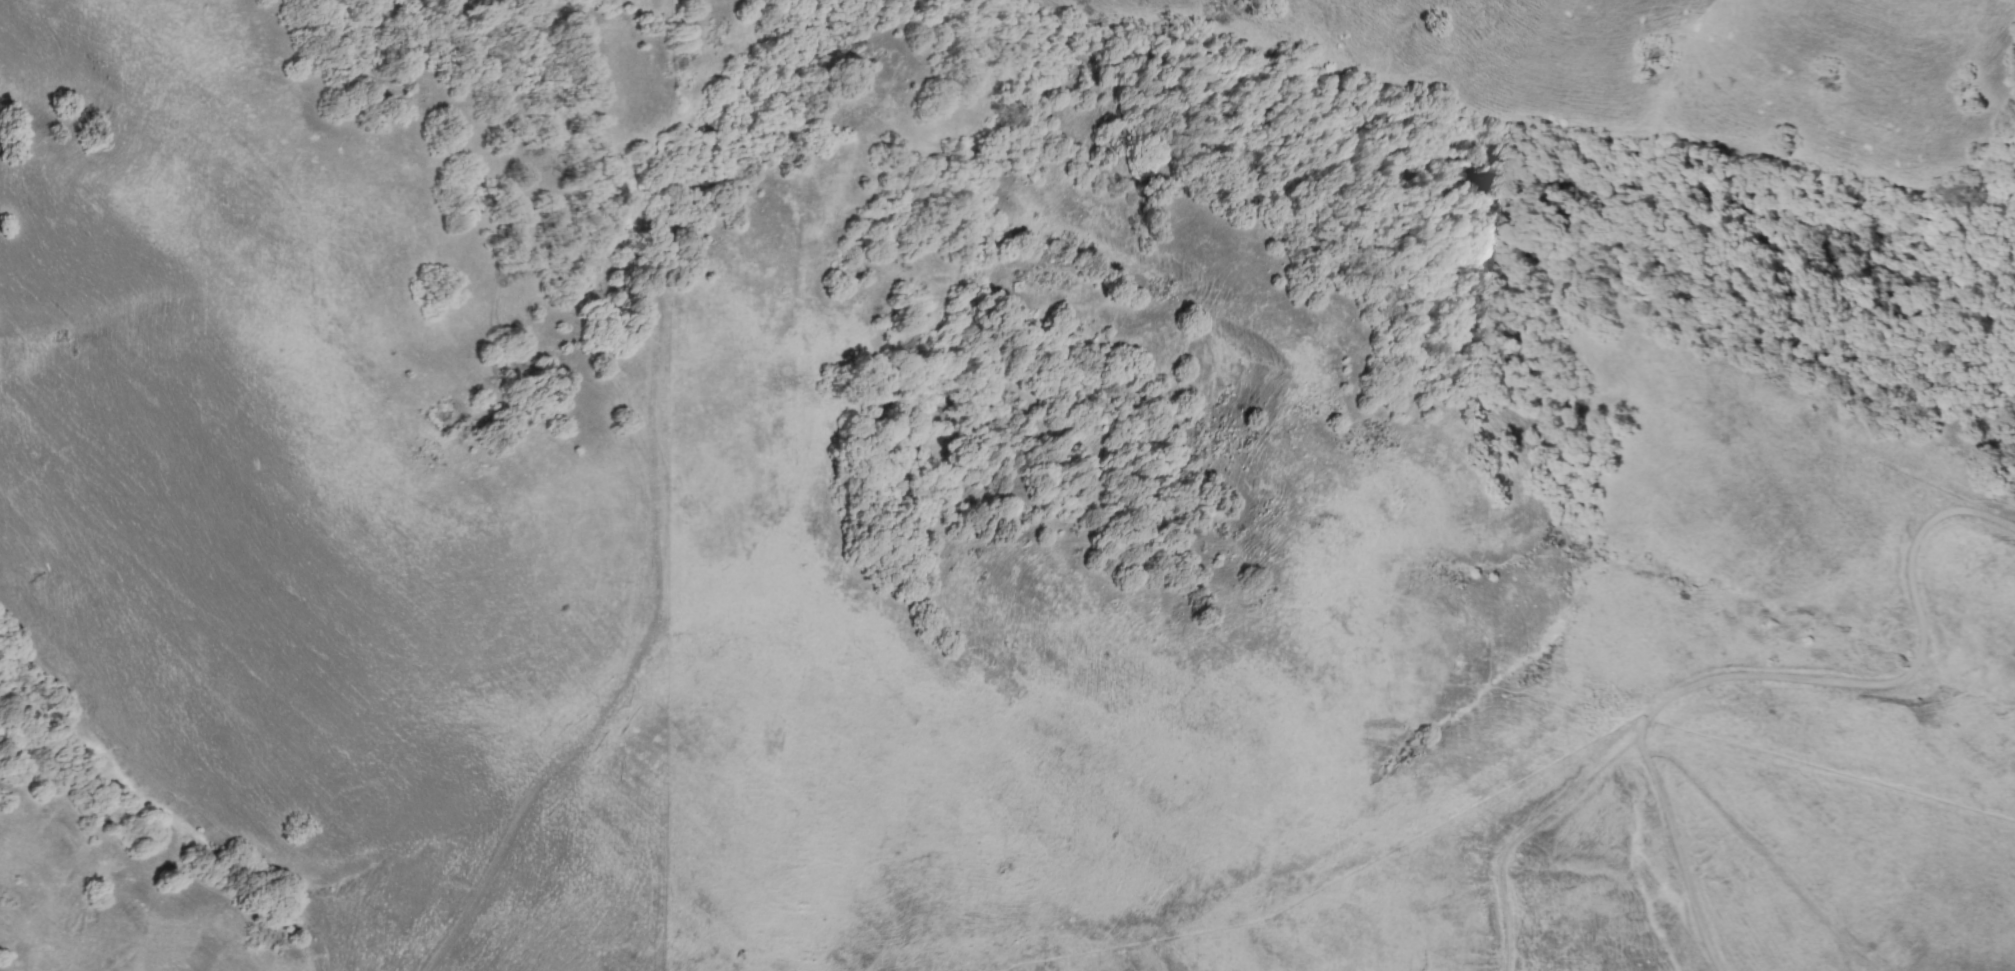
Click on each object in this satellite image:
road: (1882, 681)
road: (1530, 824)
road: (1767, 854)
road: (1681, 864)

